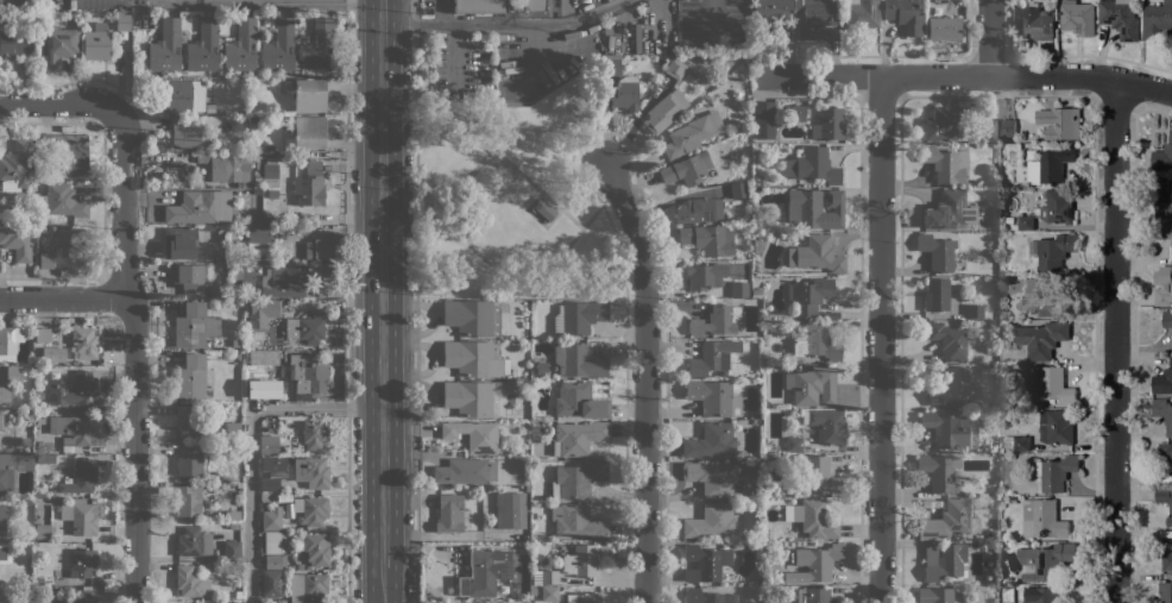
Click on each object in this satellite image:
road: (346, 0)
road: (194, 1)
road: (241, 1)
road: (131, 2)
road: (258, 2)
building: (531, 5)
building: (480, 6)
road: (565, 12)
road: (441, 13)
building: (770, 13)
building: (861, 13)
building: (1076, 14)
building: (903, 15)
building: (814, 17)
building: (1120, 18)
building: (1157, 20)
building: (122, 23)
building: (1036, 23)
road: (505, 25)
building: (944, 29)
road: (990, 37)
building: (96, 43)
building: (165, 45)
building: (12, 46)
building: (203, 46)
building: (241, 46)
building: (279, 46)
building: (317, 46)
building: (58, 48)
building: (612, 65)
building: (675, 69)
road: (1082, 75)
road: (876, 76)
building: (626, 93)
building: (183, 95)
building: (309, 95)
road: (57, 106)
building: (210, 108)
building: (971, 109)
building: (664, 111)
building: (798, 113)
building: (764, 120)
building: (1060, 123)
building: (828, 125)
building: (944, 125)
building: (987, 130)
building: (1008, 130)
building: (188, 132)
building: (309, 132)
building: (692, 134)
road: (415, 146)
building: (67, 151)
building: (1162, 157)
building: (945, 163)
building: (817, 165)
building: (1050, 165)
building: (15, 167)
building: (227, 167)
building: (686, 169)
road: (519, 171)
building: (270, 175)
building: (756, 181)
building: (257, 184)
building: (244, 186)
building: (310, 186)
building: (738, 190)
park: (512, 200)
building: (62, 201)
building: (1165, 203)
building: (1057, 206)
building: (544, 208)
building: (191, 209)
building: (807, 209)
building: (698, 211)
building: (949, 211)
building: (1026, 222)
building: (1014, 227)
building: (42, 230)
building: (1165, 231)
building: (259, 234)
building: (15, 239)
building: (708, 239)
building: (73, 241)
building: (758, 245)
building: (188, 246)
building: (296, 246)
building: (320, 250)
building: (1054, 251)
building: (937, 252)
building: (815, 255)
building: (44, 259)
building: (245, 270)
building: (237, 271)
road: (504, 271)
building: (705, 275)
building: (193, 277)
building: (285, 281)
building: (1162, 285)
building: (739, 289)
building: (756, 293)
building: (209, 295)
building: (809, 295)
building: (937, 295)
road: (67, 296)
building: (1041, 299)
road: (382, 301)
building: (975, 312)
building: (262, 313)
building: (581, 316)
building: (472, 318)
building: (1166, 319)
building: (717, 320)
building: (194, 326)
building: (310, 329)
building: (40, 334)
road: (880, 339)
building: (1041, 339)
building: (951, 340)
building: (10, 341)
road: (1114, 341)
building: (814, 343)
building: (80, 345)
building: (39, 347)
road: (134, 354)
building: (279, 354)
building: (712, 357)
building: (473, 358)
building: (578, 360)
building: (308, 372)
building: (14, 373)
building: (190, 377)
building: (1162, 381)
road: (648, 382)
building: (86, 385)
building: (812, 385)
building: (257, 388)
building: (951, 388)
building: (1046, 388)
building: (286, 394)
building: (5, 396)
building: (713, 397)
building: (473, 398)
building: (579, 401)
building: (1162, 413)
building: (27, 416)
building: (40, 421)
building: (1, 422)
building: (187, 422)
building: (826, 426)
building: (1056, 427)
building: (76, 428)
building: (232, 429)
building: (946, 429)
building: (314, 431)
building: (473, 434)
building: (578, 438)
road: (252, 440)
building: (711, 440)
building: (24, 441)
building: (39, 442)
building: (793, 444)
building: (1021, 444)
building: (269, 445)
building: (1008, 446)
building: (1165, 452)
building: (1001, 457)
building: (46, 458)
building: (189, 461)
building: (273, 465)
building: (13, 467)
building: (466, 471)
building: (939, 471)
building: (313, 472)
building: (1057, 472)
building: (814, 473)
building: (80, 477)
building: (711, 478)
building: (576, 479)
building: (994, 479)
building: (267, 483)
building: (765, 494)
building: (25, 501)
building: (187, 501)
building: (1165, 501)
building: (221, 503)
road: (347, 504)
building: (311, 509)
building: (510, 510)
building: (449, 513)
building: (82, 515)
building: (812, 519)
building: (1041, 519)
building: (2, 520)
building: (271, 520)
building: (711, 521)
building: (951, 521)
building: (576, 522)
building: (233, 525)
building: (43, 530)
building: (194, 541)
building: (271, 541)
building: (821, 544)
building: (972, 545)
building: (314, 547)
building: (231, 551)
building: (5, 553)
building: (275, 560)
building: (819, 560)
building: (943, 560)
building: (1045, 560)
building: (83, 561)
building: (580, 561)
building: (707, 561)
building: (1167, 561)
building: (232, 565)
building: (298, 566)
building: (481, 573)
building: (549, 577)
building: (39, 579)
building: (190, 582)
building: (271, 583)
building: (308, 588)
building: (1165, 591)
building: (549, 595)
building: (934, 595)
building: (1008, 595)
building: (1041, 595)
building: (813, 596)
building: (83, 597)
building: (706, 597)
building: (587, 598)
building: (771, 598)
building: (1, 602)
building: (235, 602)

